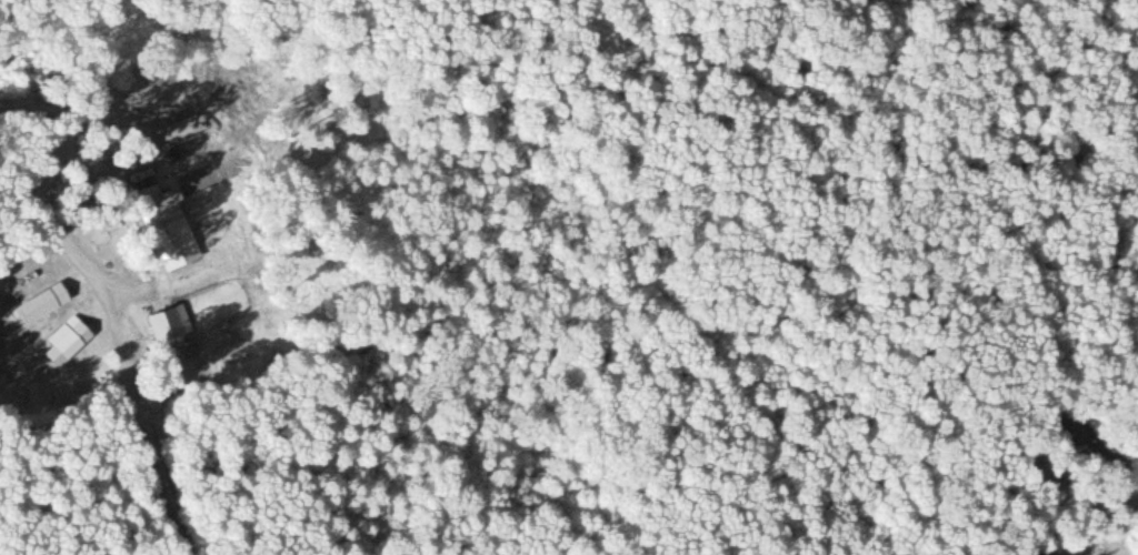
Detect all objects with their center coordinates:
road: (1065, 134)
building: (163, 224)
building: (164, 323)
building: (68, 343)
road: (152, 478)

